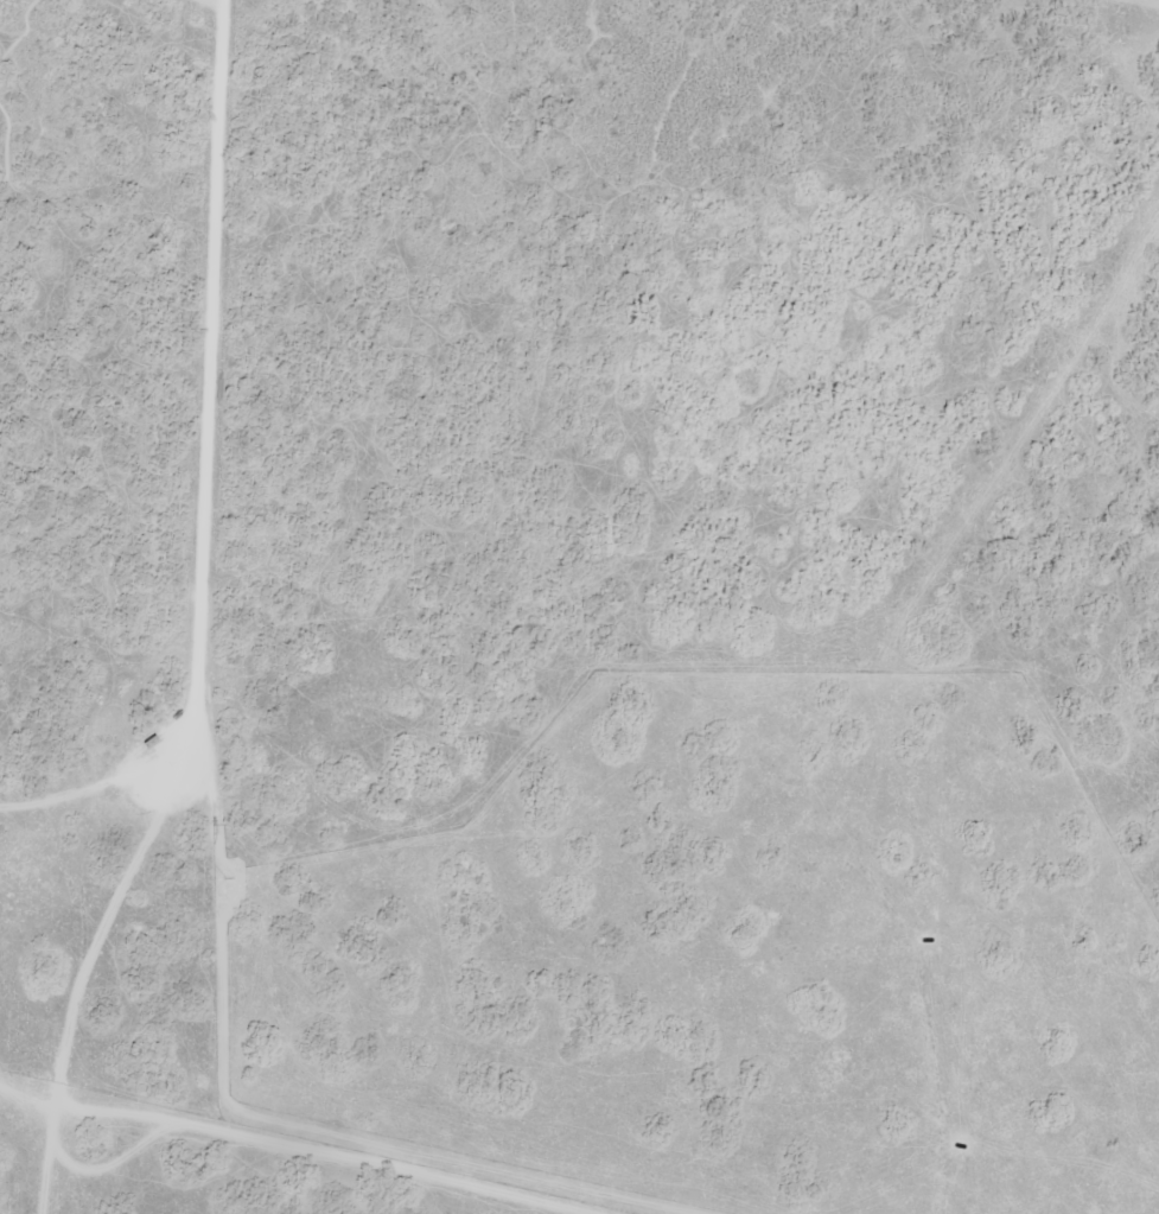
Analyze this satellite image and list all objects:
road: (561, 383)
road: (762, 679)
road: (160, 758)

